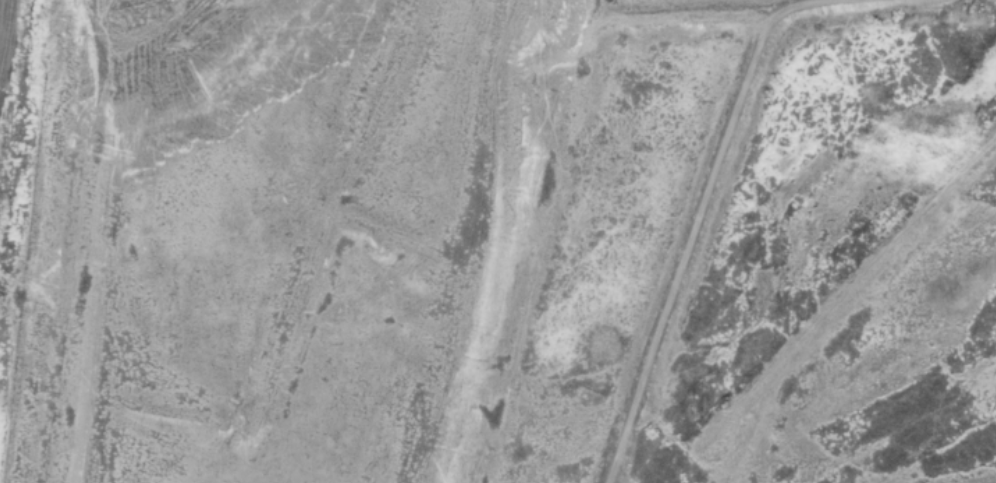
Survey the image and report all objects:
railway: (5, 33)

